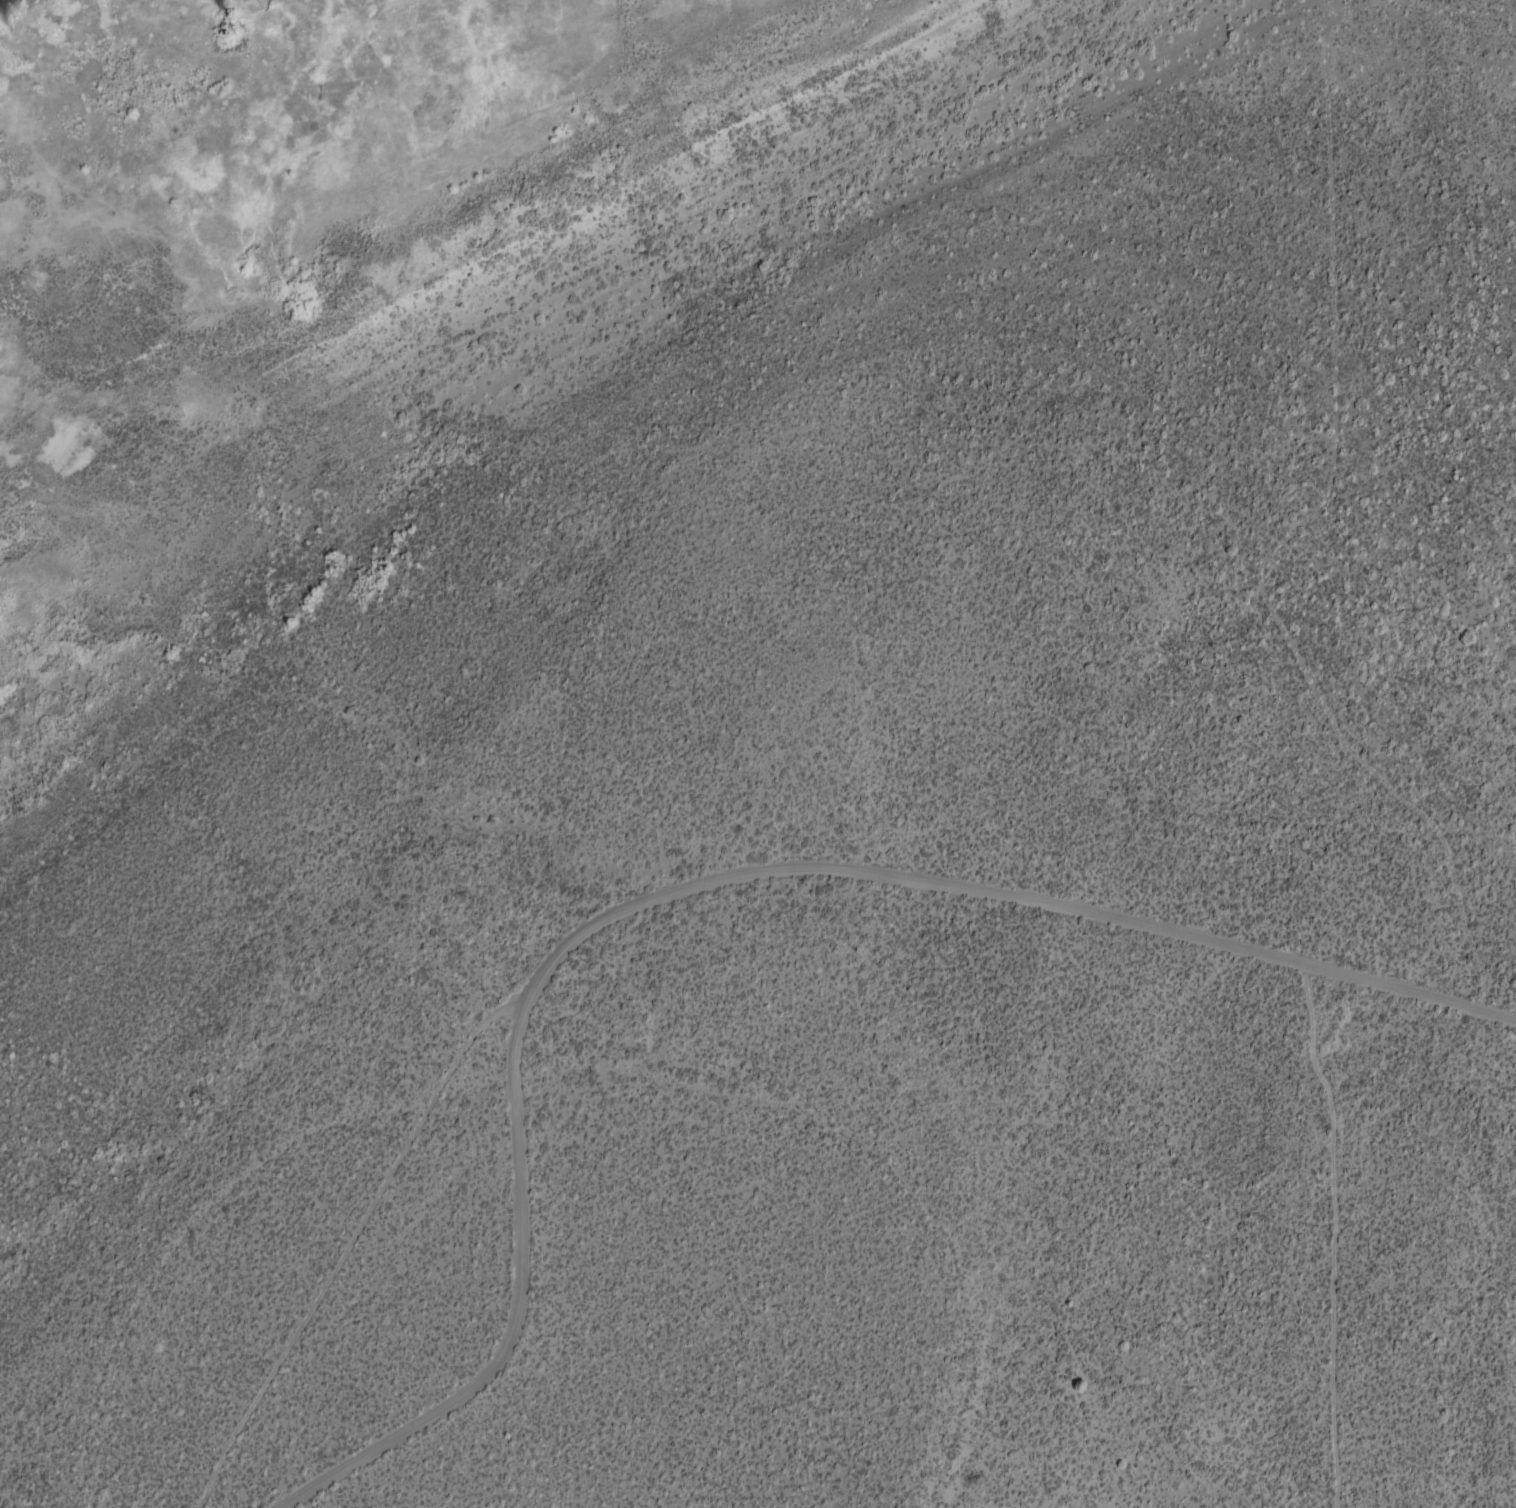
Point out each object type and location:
road: (1298, 538)
road: (696, 888)
road: (1332, 1236)

